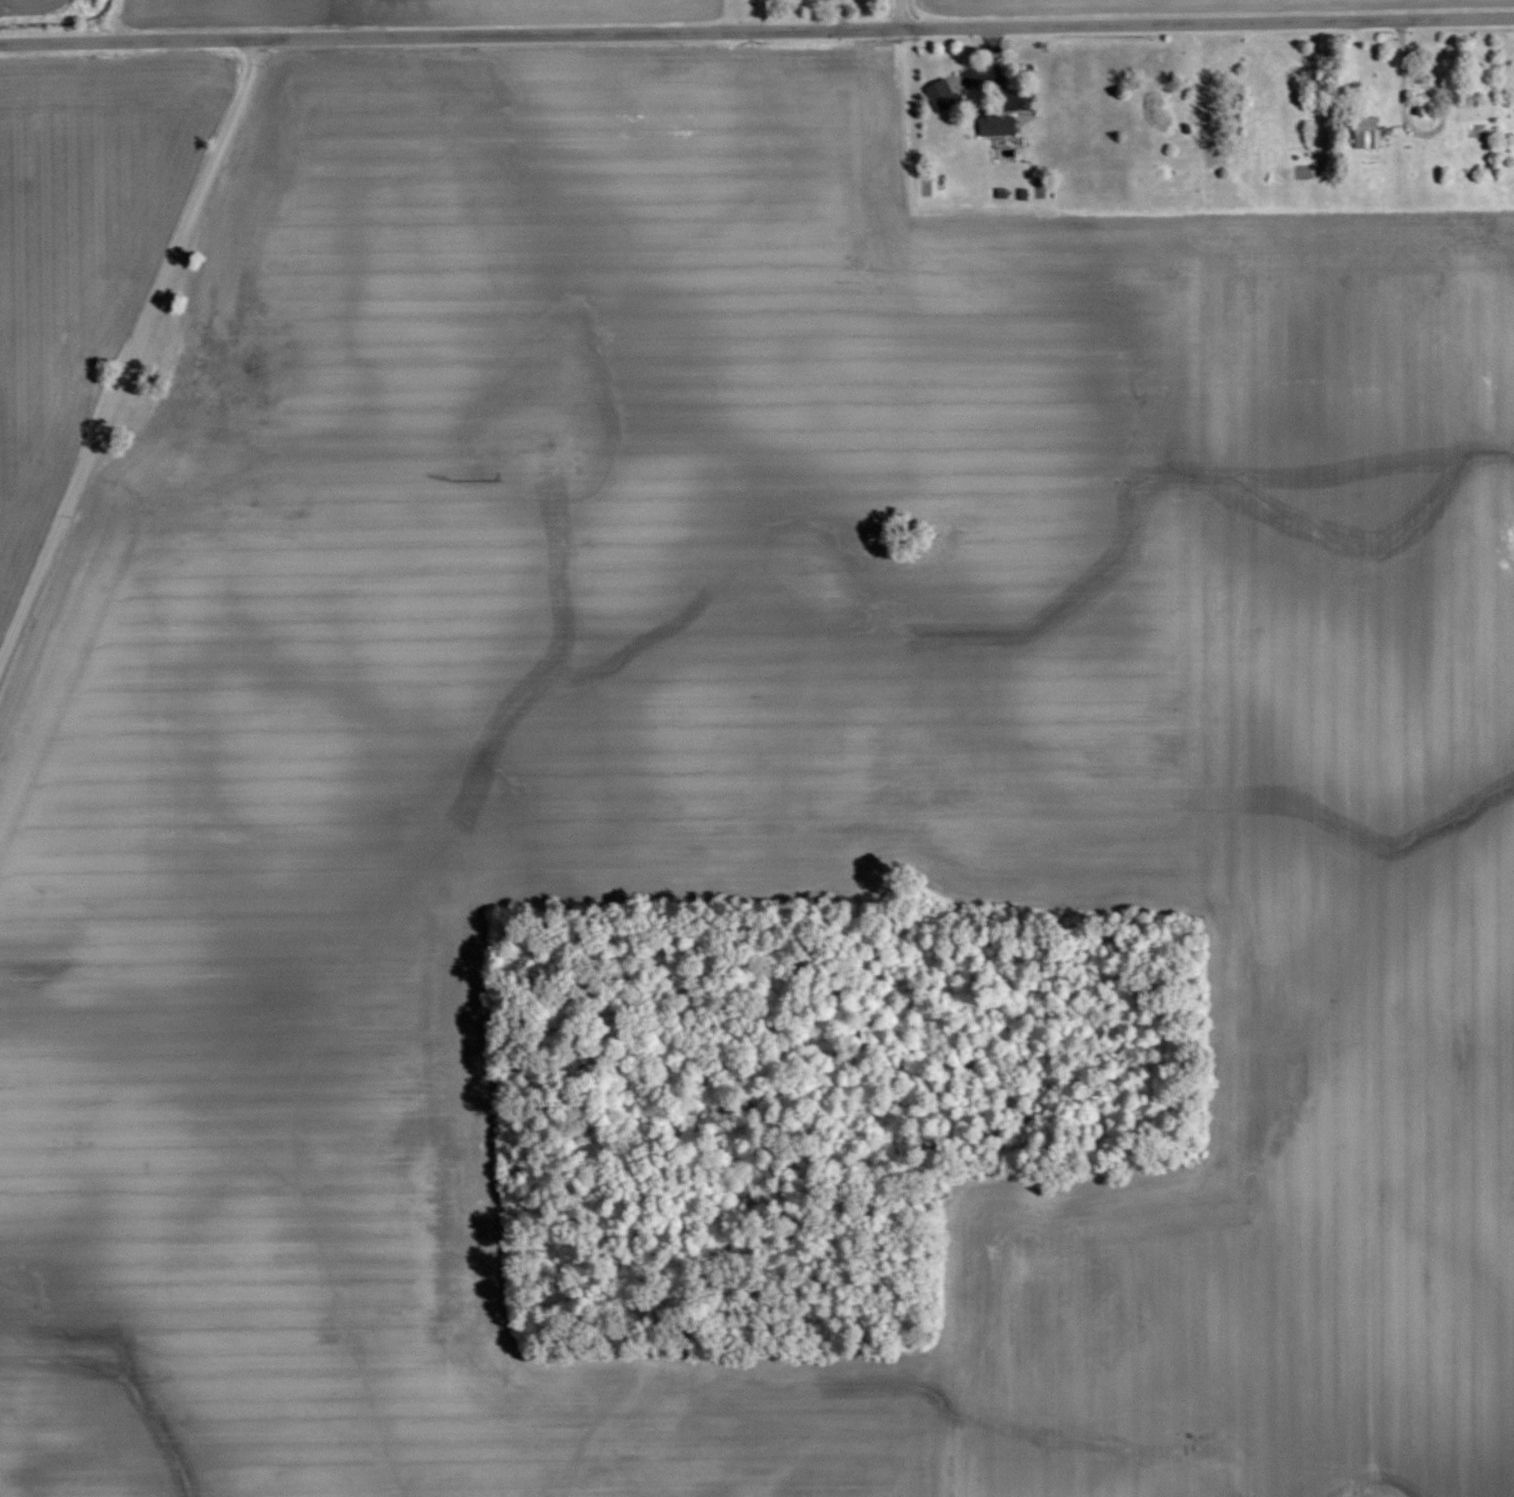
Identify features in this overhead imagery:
road: (902, 12)
road: (757, 27)
building: (950, 89)
building: (995, 122)
building: (1366, 131)
road: (131, 354)

